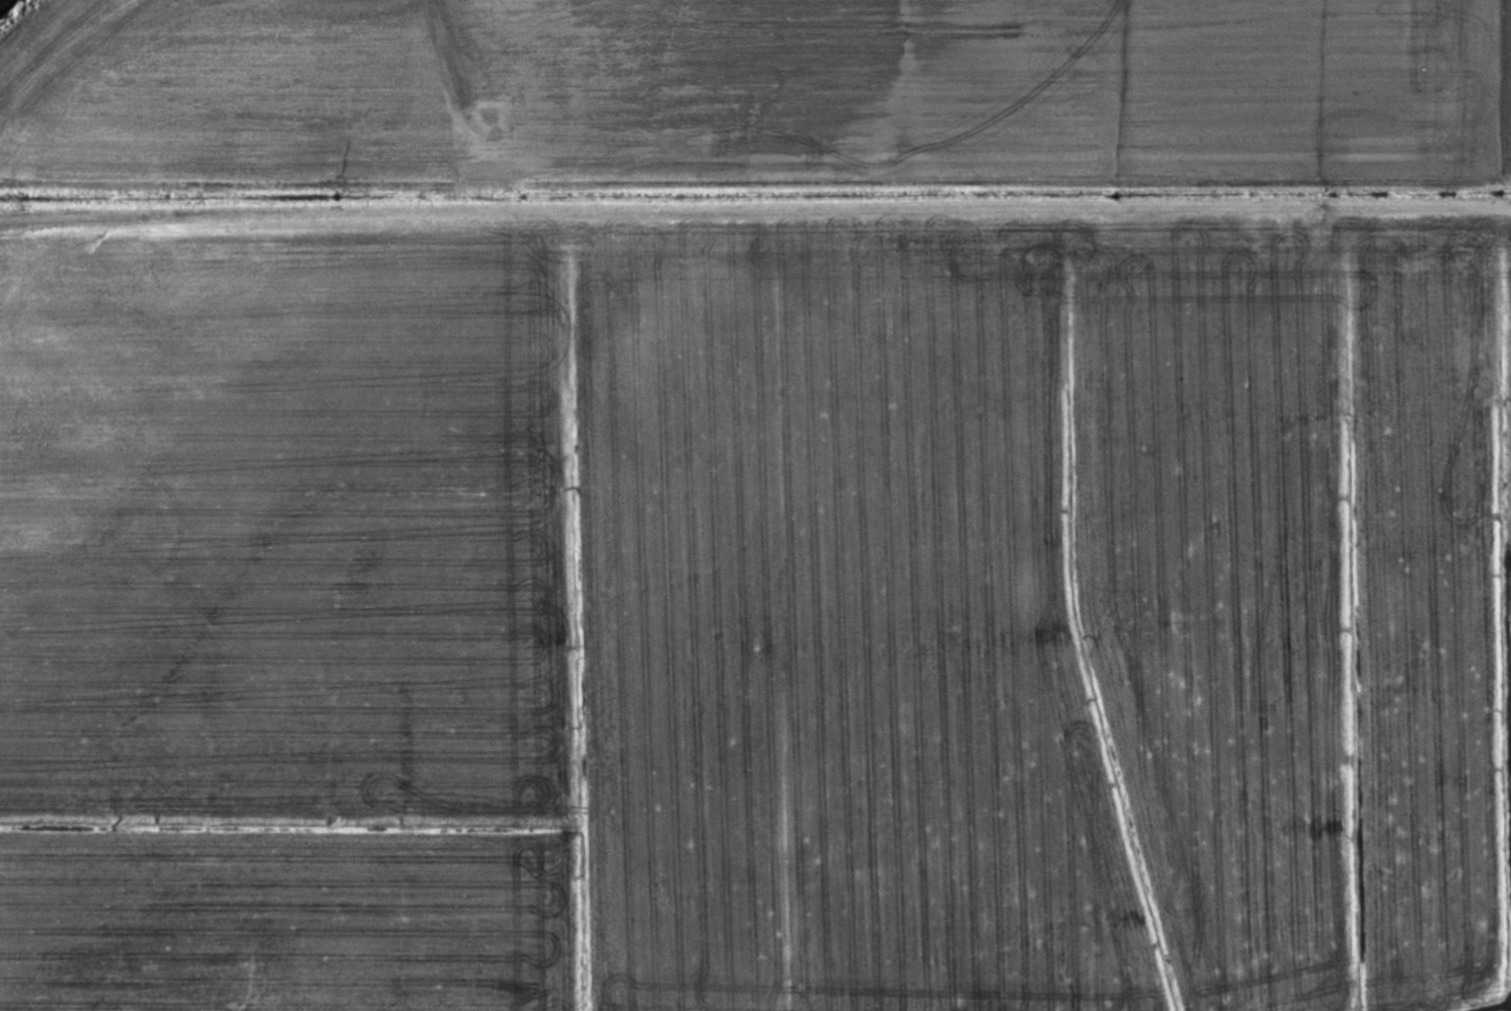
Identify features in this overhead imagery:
river: (0, 0)

